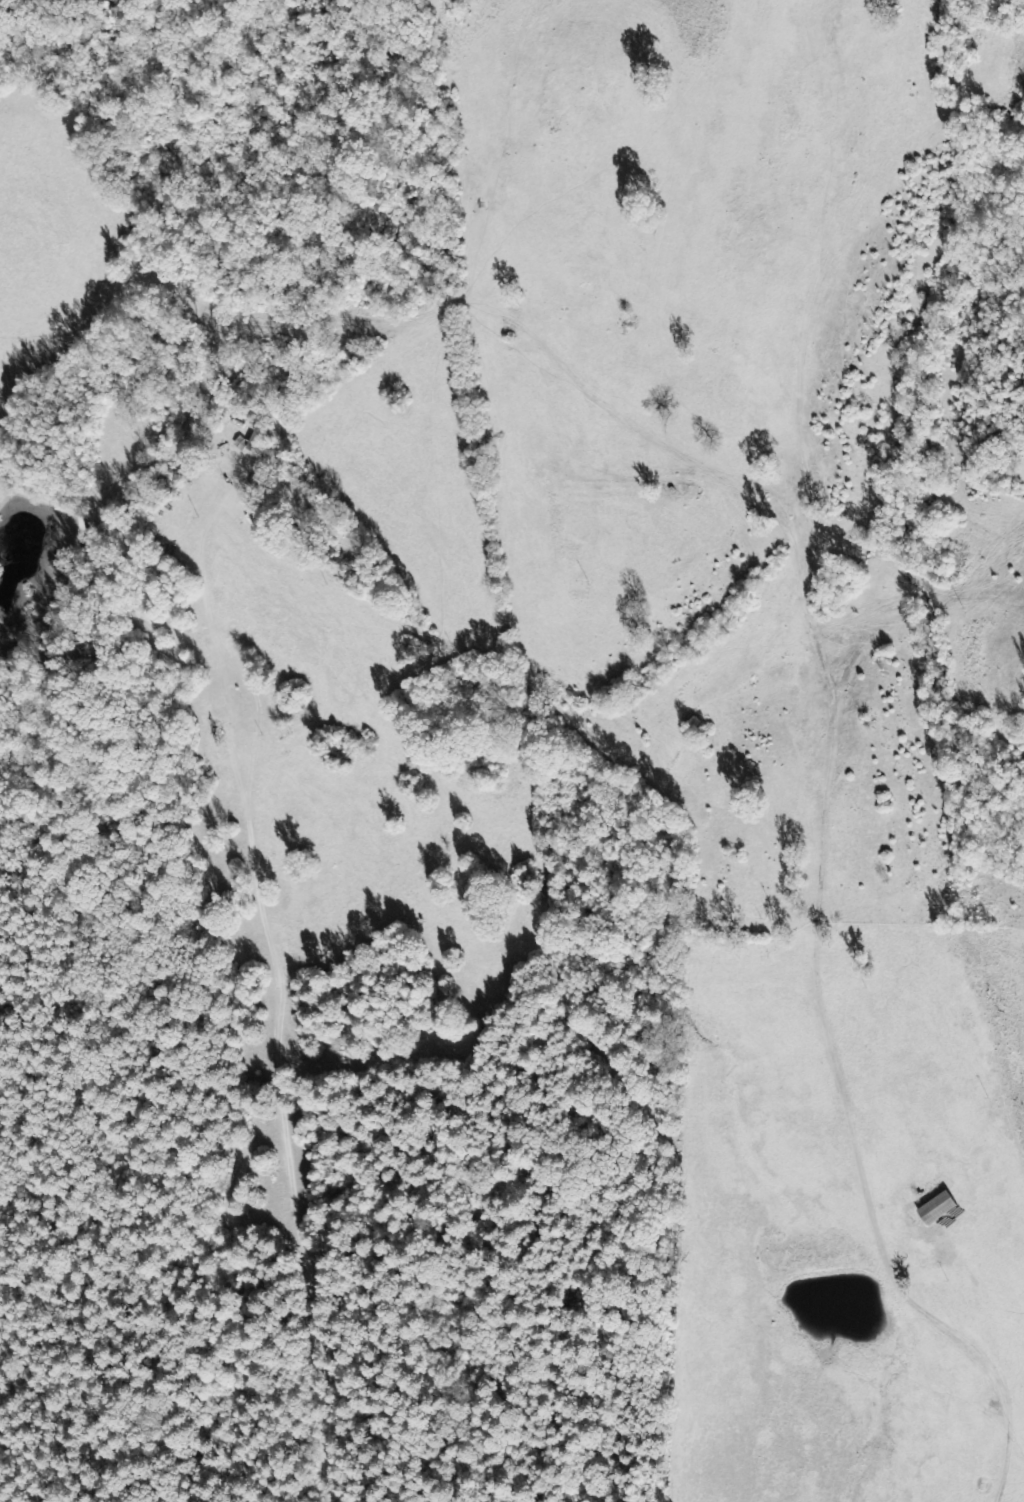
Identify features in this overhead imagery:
road: (825, 757)
road: (269, 964)
building: (936, 1209)

